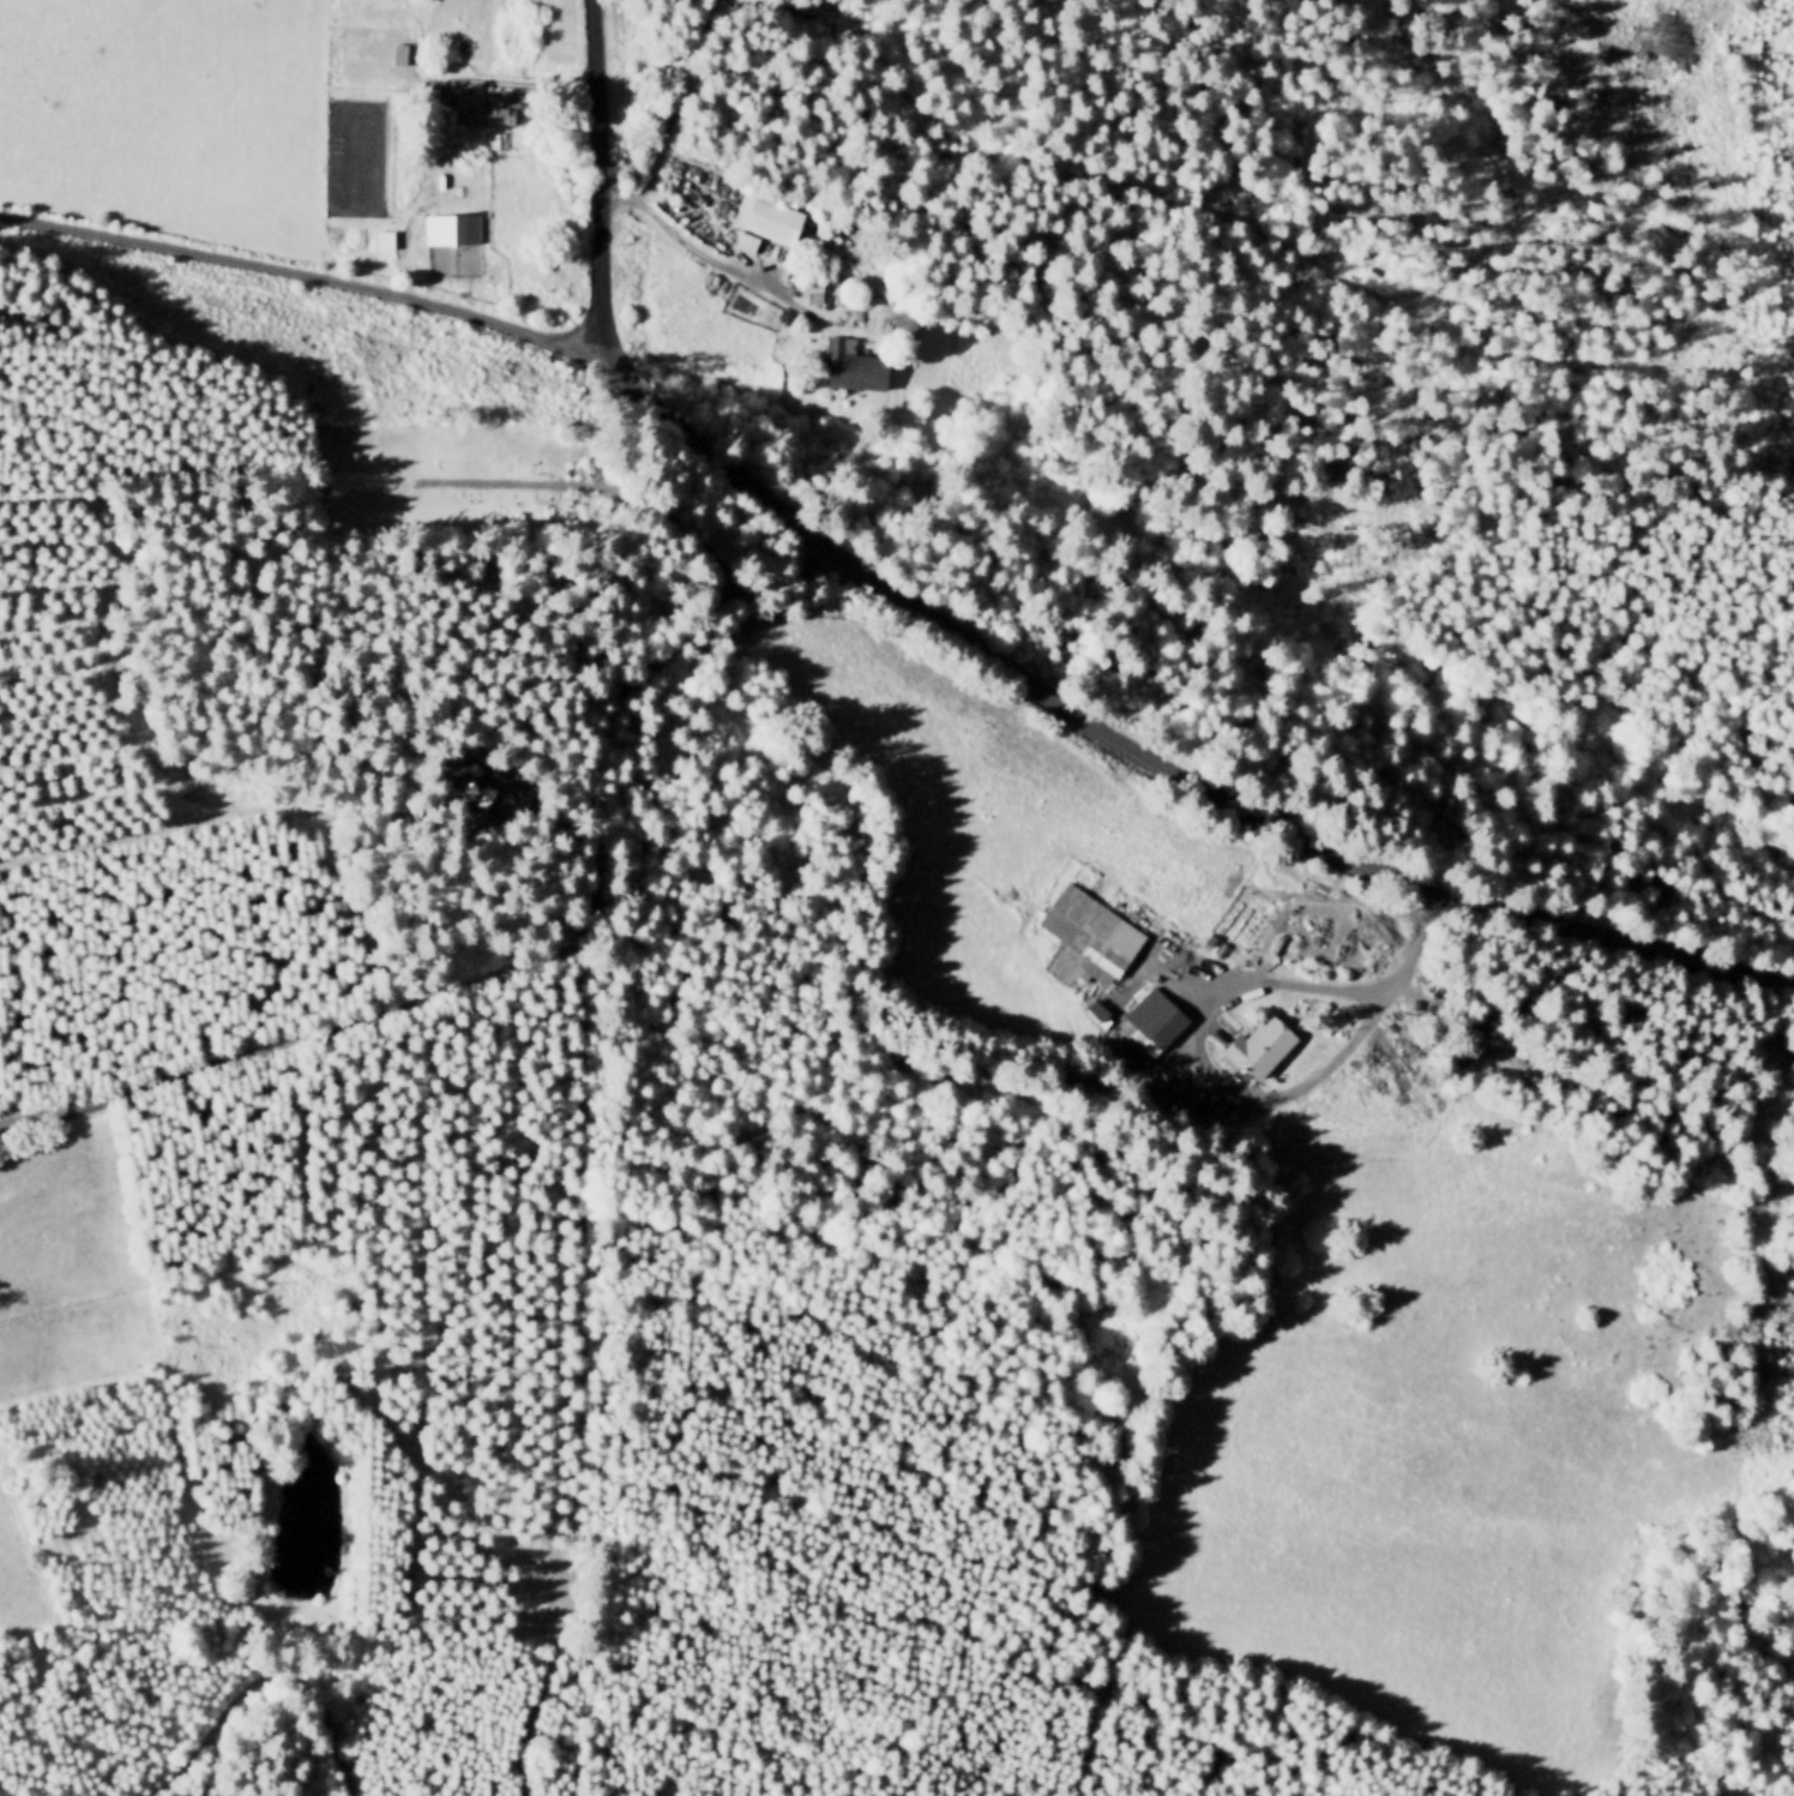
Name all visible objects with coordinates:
building: (405, 53)
road: (447, 85)
building: (490, 107)
road: (1083, 180)
road: (596, 185)
building: (772, 222)
building: (456, 228)
building: (383, 239)
building: (746, 241)
road: (314, 271)
road: (730, 271)
building: (494, 278)
building: (784, 317)
building: (903, 329)
building: (849, 368)
park: (460, 479)
road: (598, 488)
road: (1160, 765)
building: (483, 795)
building: (1090, 932)
road: (538, 962)
road: (1184, 987)
building: (1095, 1009)
building: (1155, 1027)
building: (1258, 1050)
building: (1517, 1065)
road: (1241, 1099)
road: (591, 1344)
road: (175, 1425)
road: (281, 1671)
road: (205, 1744)

